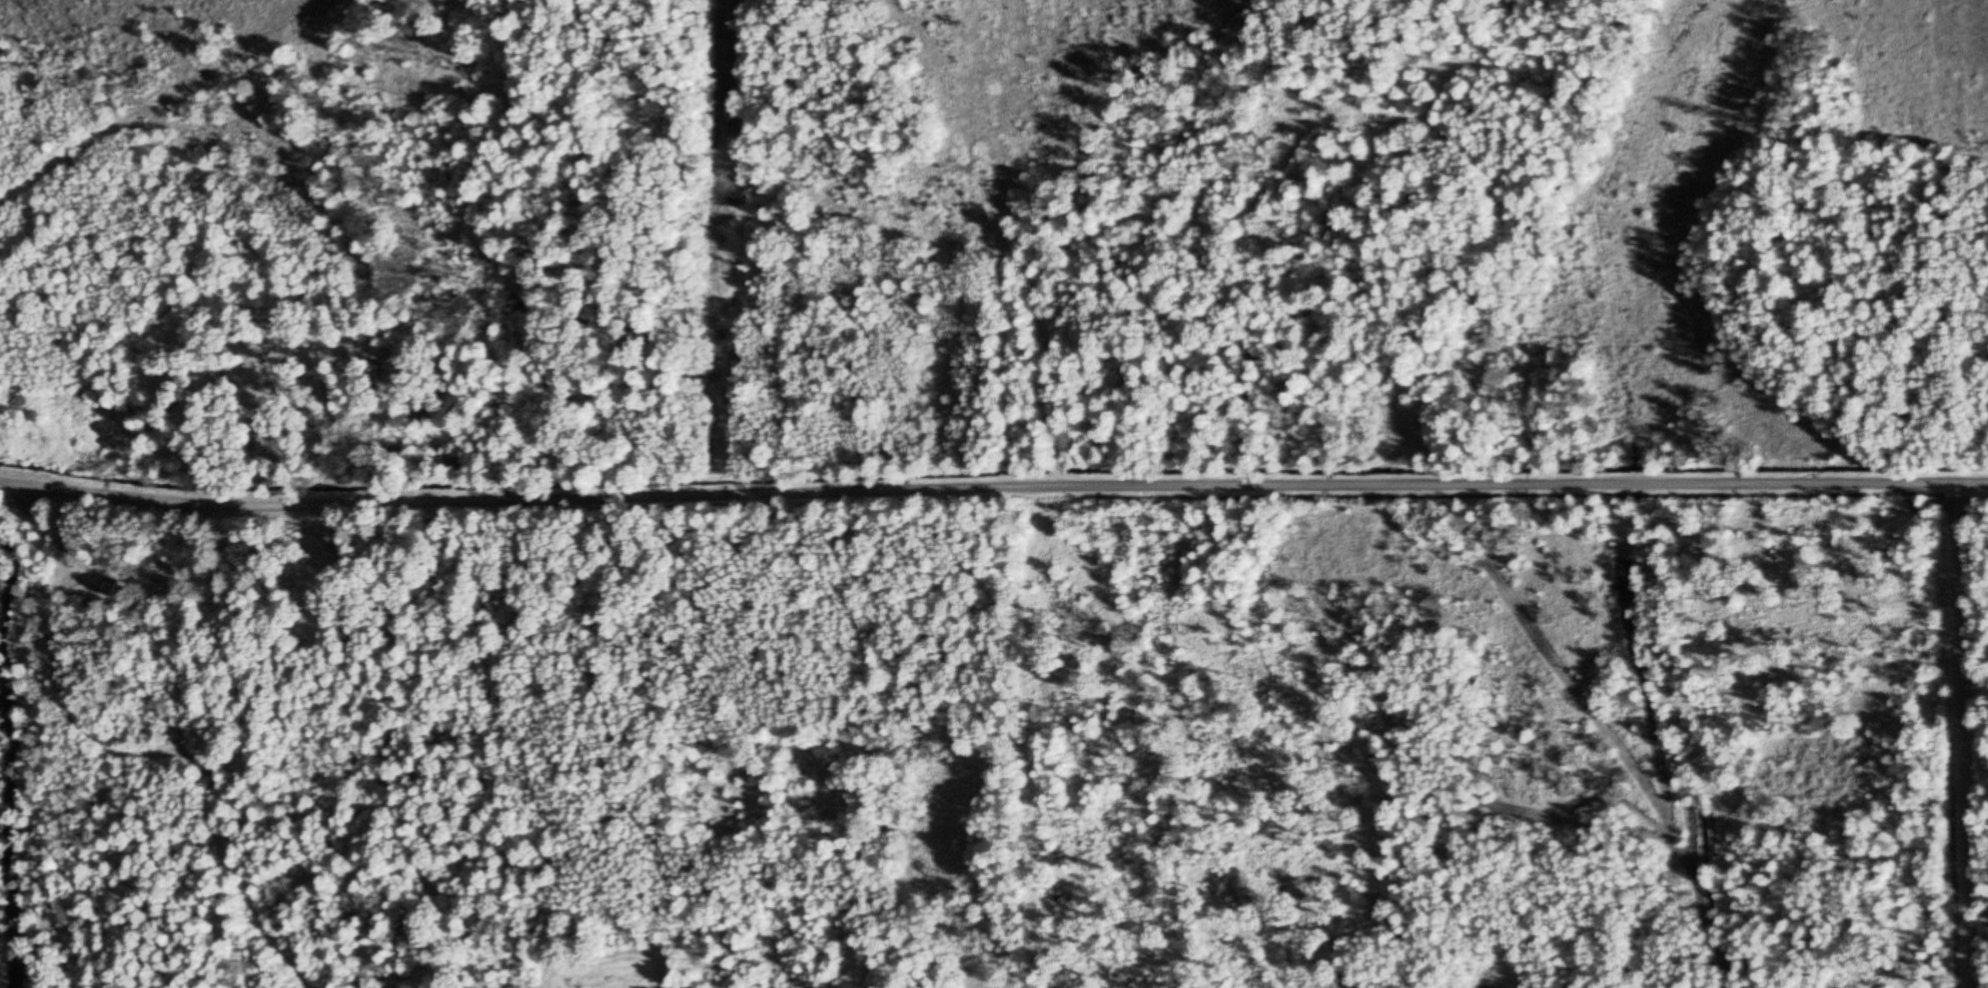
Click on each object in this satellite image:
road: (991, 483)
building: (107, 587)

